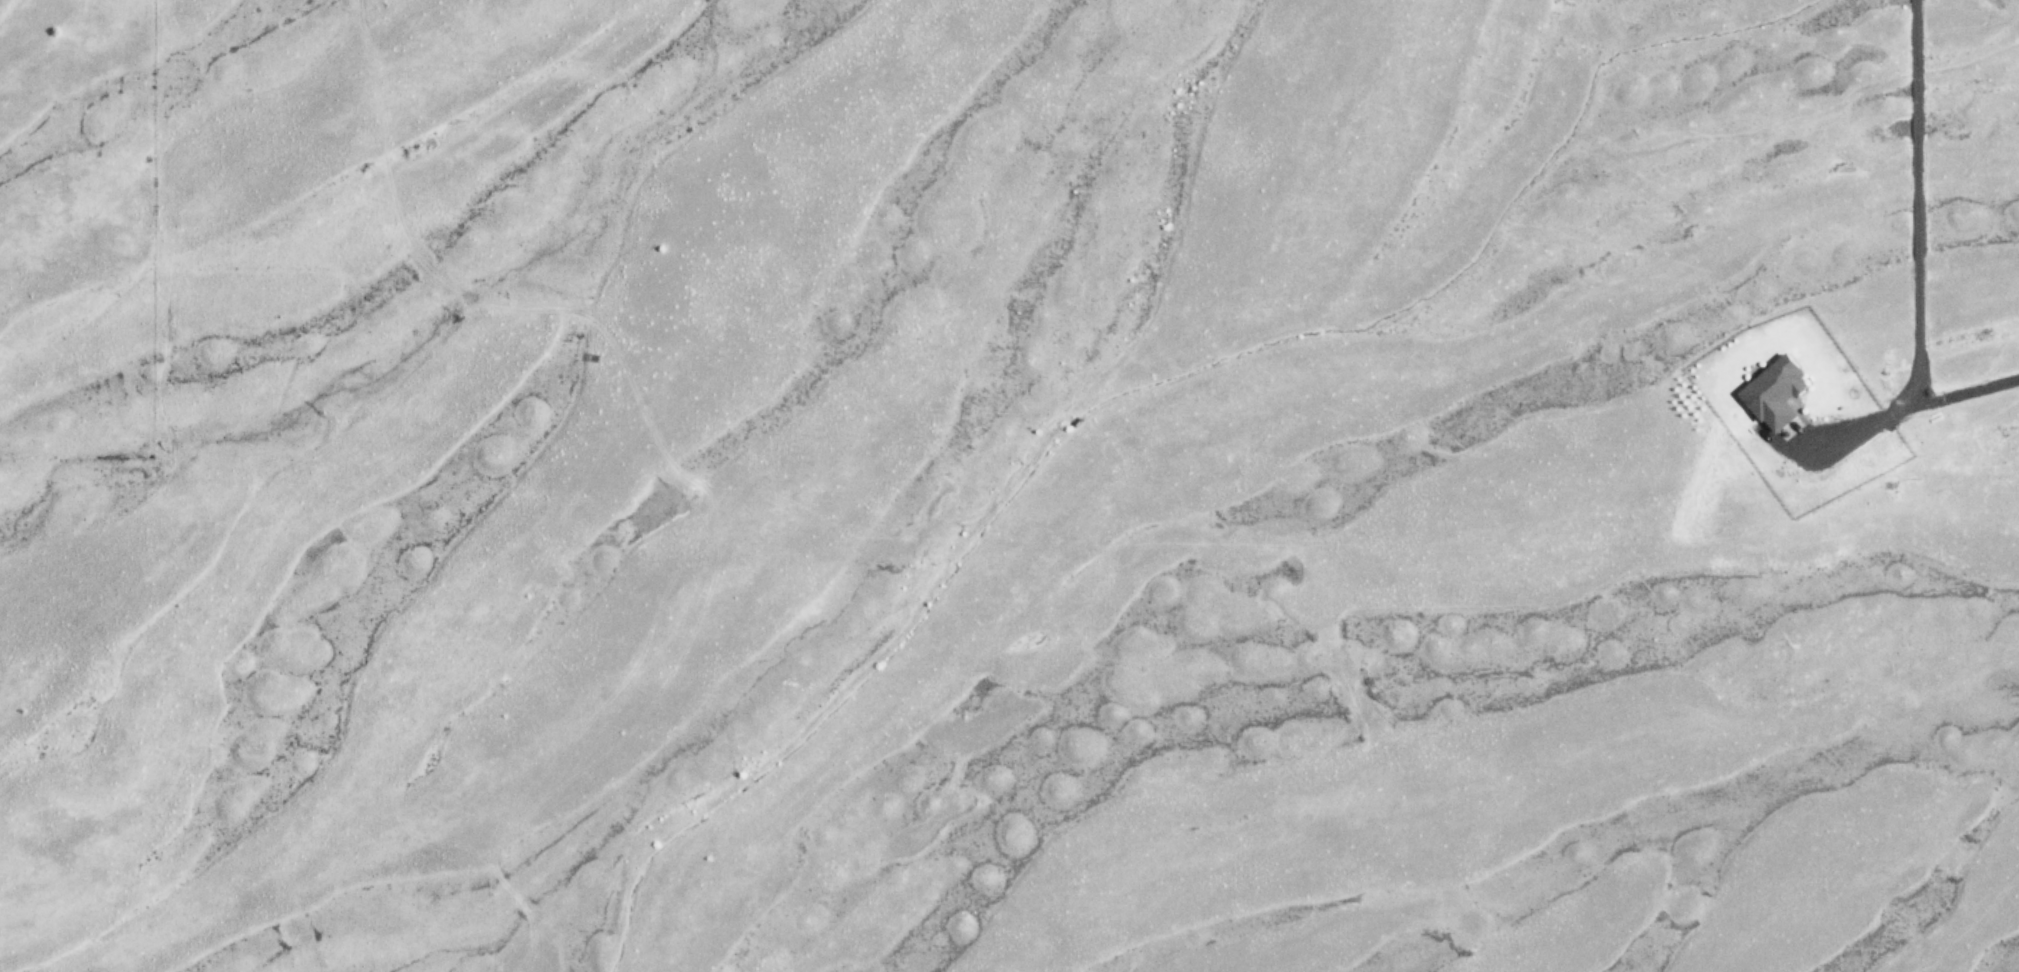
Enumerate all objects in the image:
road: (1908, 258)
building: (1775, 391)

